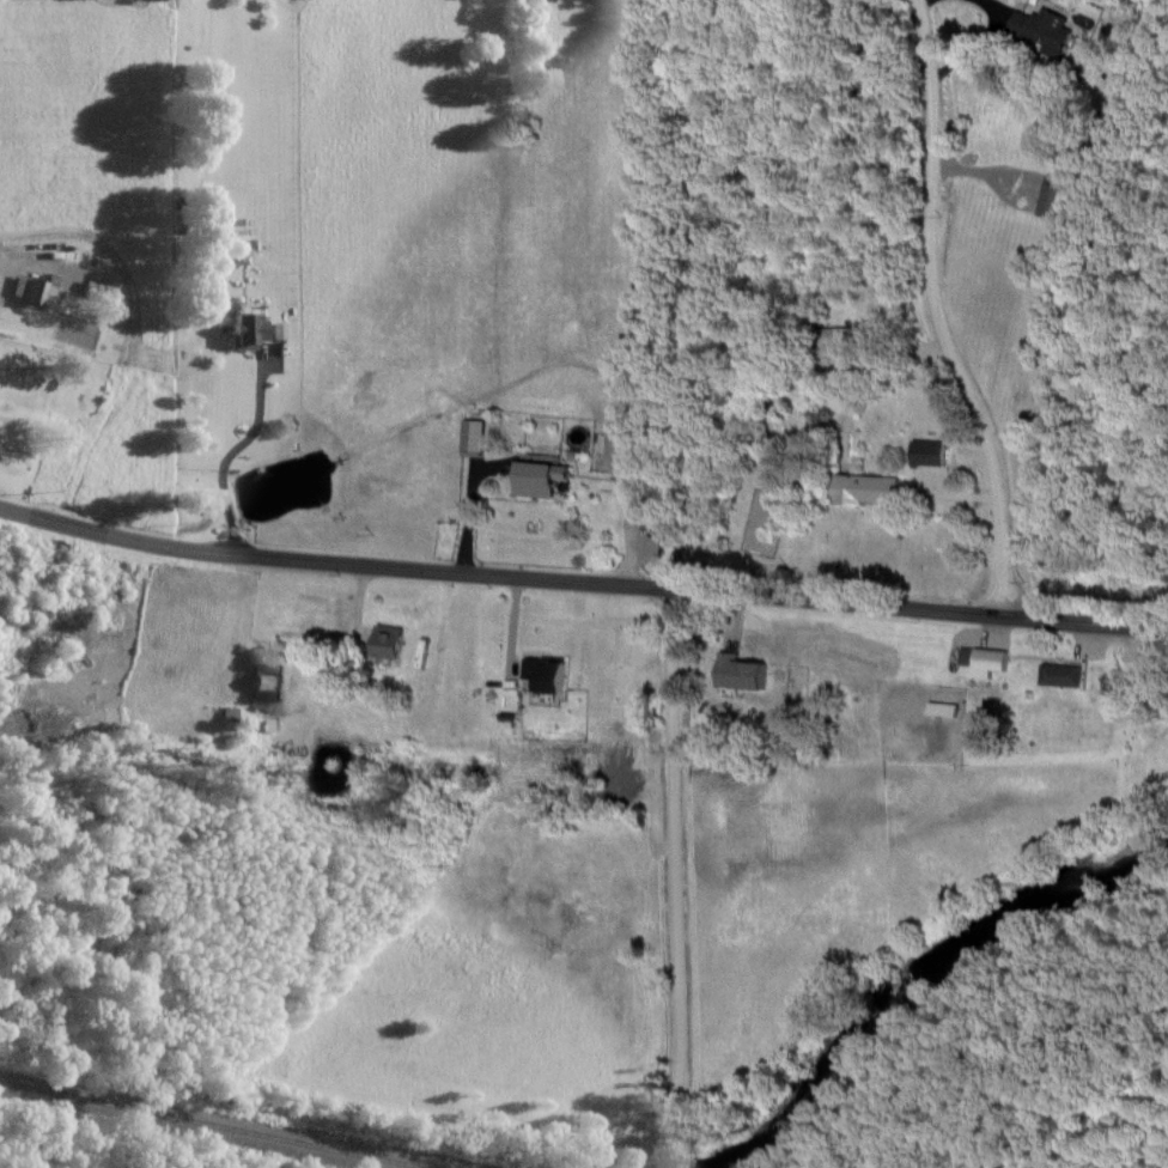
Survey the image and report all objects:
building: (1036, 29)
building: (1052, 196)
building: (31, 288)
road: (936, 314)
building: (243, 329)
building: (470, 434)
building: (925, 452)
building: (620, 454)
building: (536, 475)
building: (864, 489)
road: (498, 577)
road: (1085, 622)
building: (384, 641)
building: (981, 661)
building: (736, 673)
building: (541, 675)
building: (1059, 675)
building: (263, 682)
building: (938, 710)
road: (676, 889)
river: (930, 971)
railway: (213, 1125)

